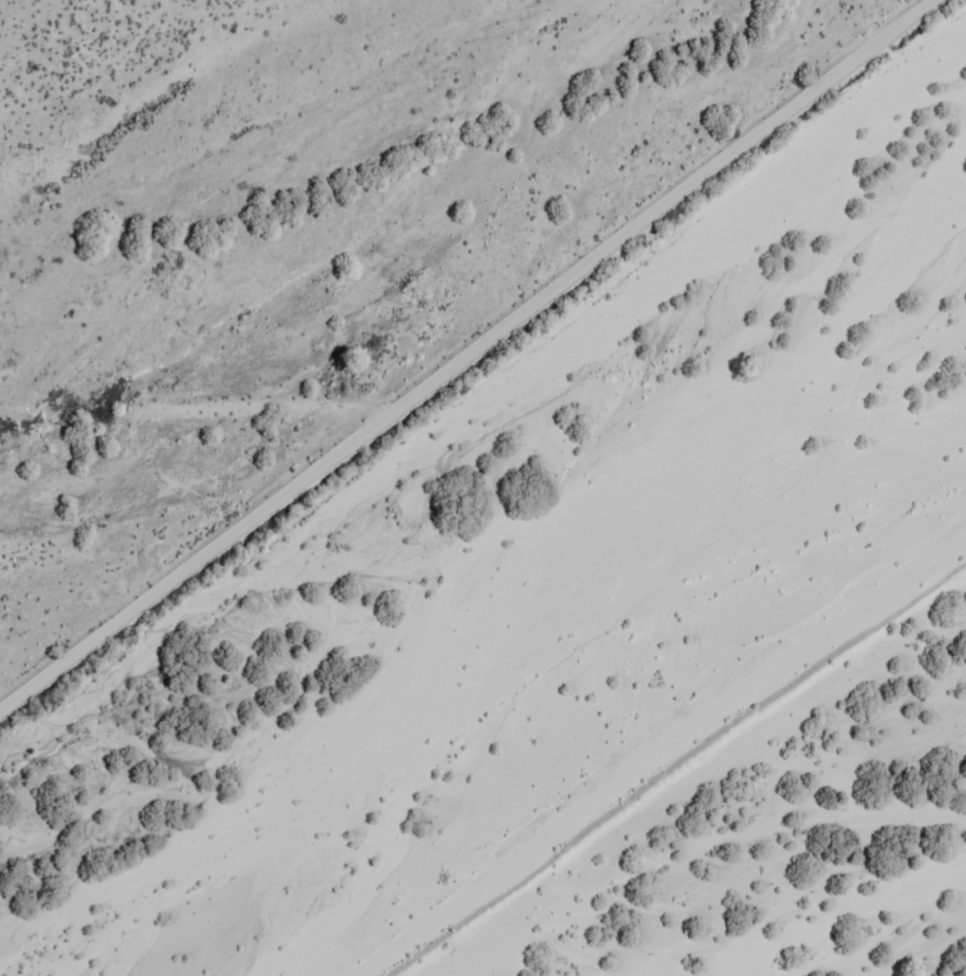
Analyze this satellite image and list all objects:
river: (859, 887)

